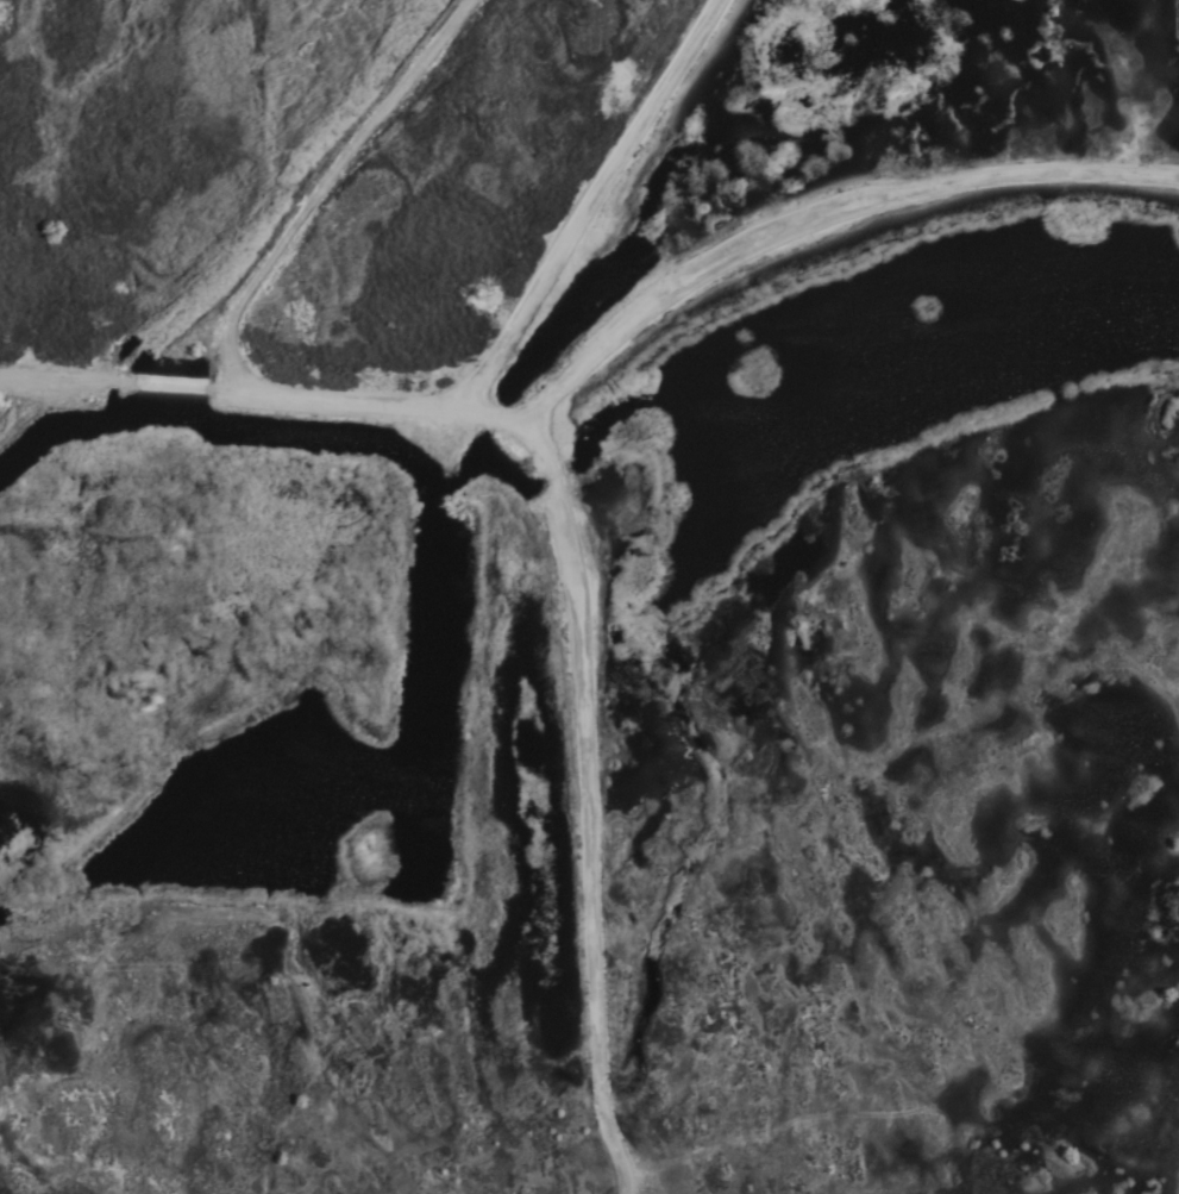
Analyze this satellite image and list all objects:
road: (590, 205)
road: (594, 360)
road: (587, 811)

